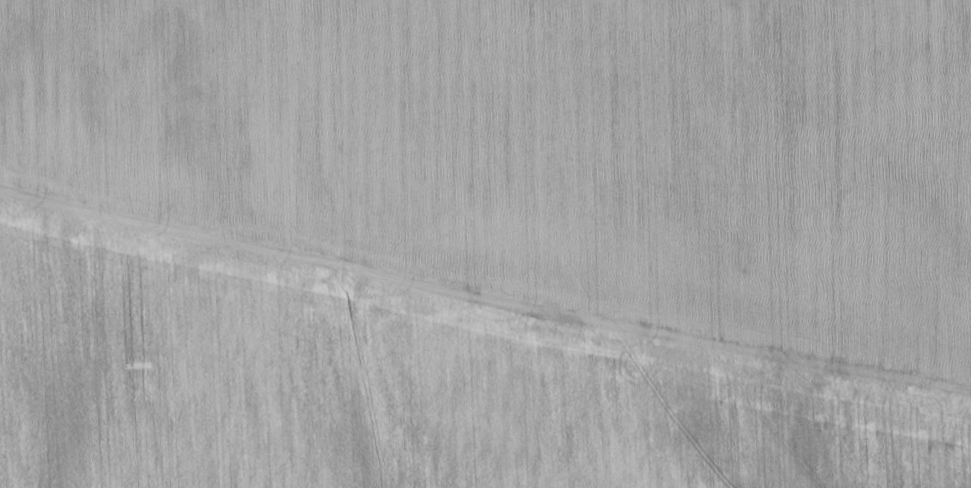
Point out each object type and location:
road: (484, 277)

